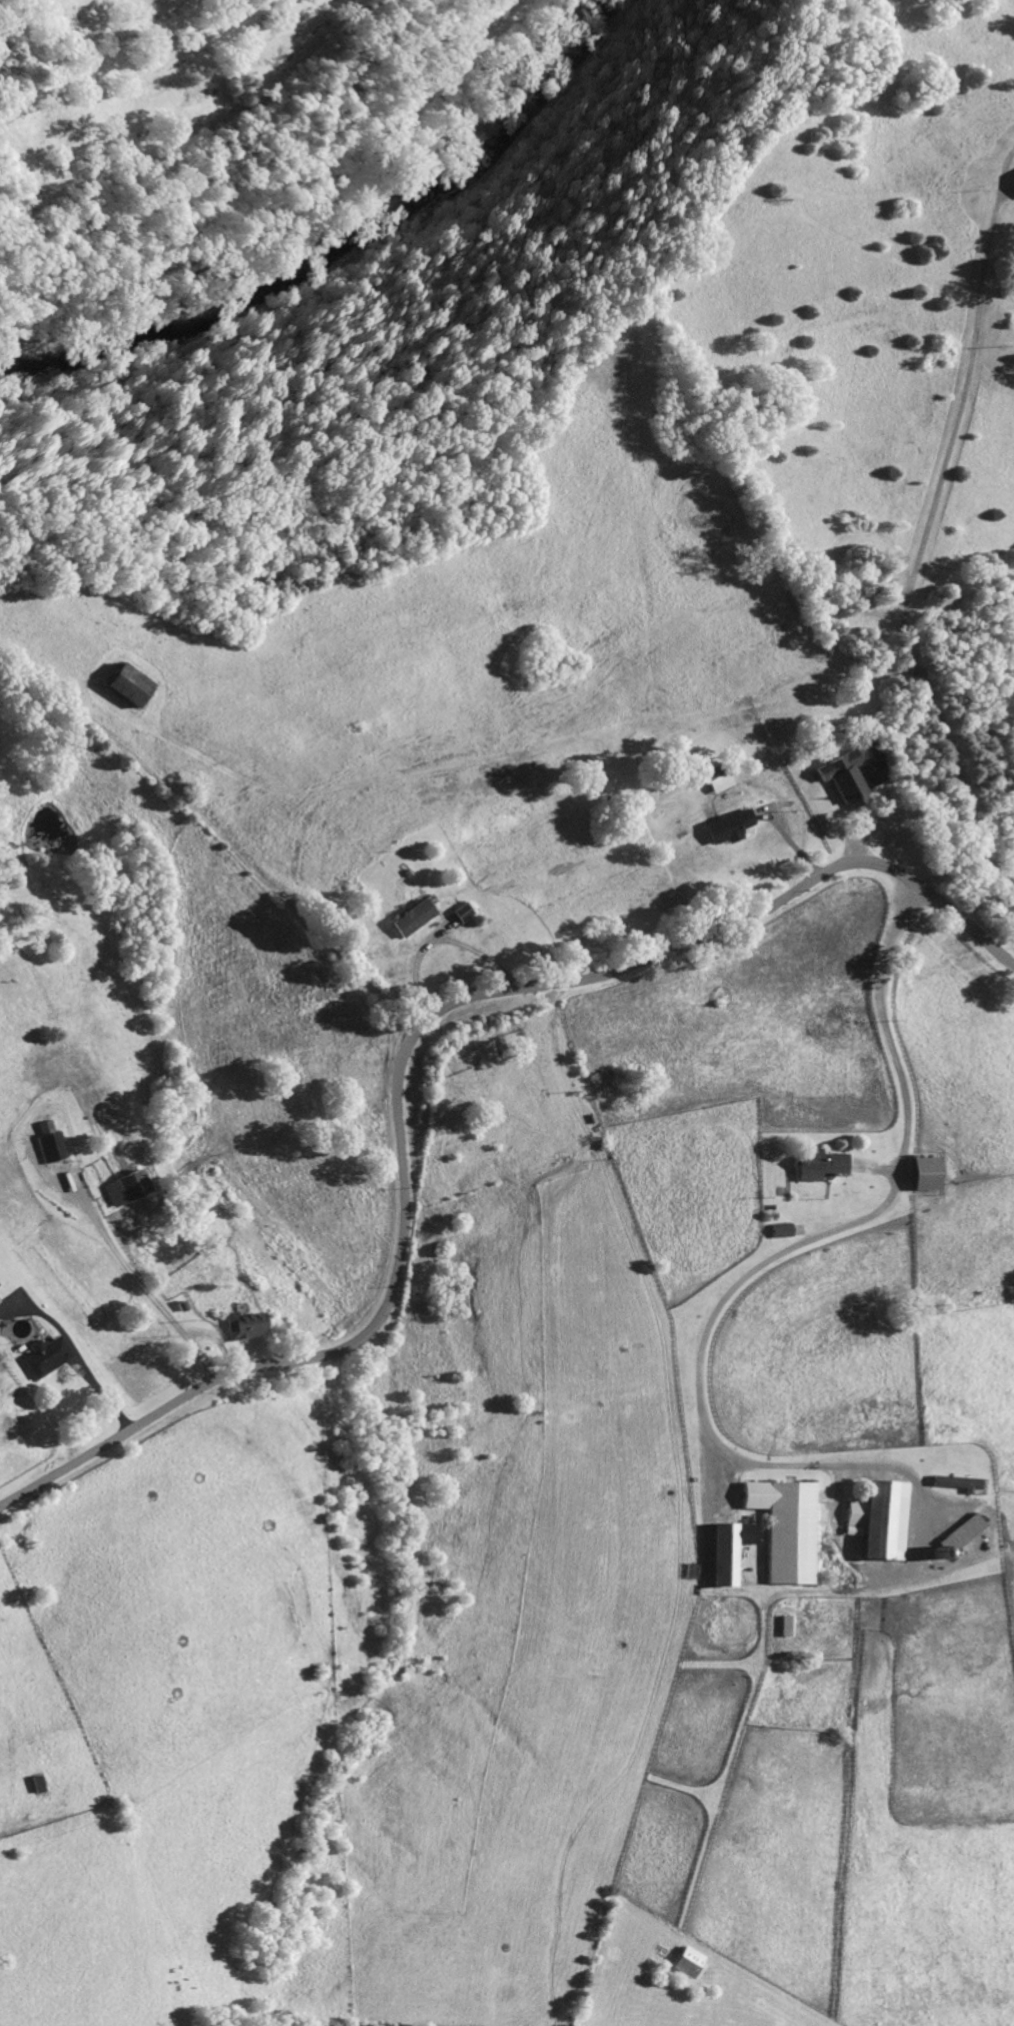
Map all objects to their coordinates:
building: (1013, 174)
river: (337, 238)
road: (928, 526)
building: (122, 685)
building: (840, 778)
building: (725, 828)
building: (411, 919)
road: (438, 942)
road: (402, 1054)
building: (52, 1147)
building: (815, 1165)
building: (918, 1175)
building: (122, 1189)
road: (83, 1199)
building: (779, 1231)
road: (796, 1243)
building: (243, 1326)
road: (216, 1341)
building: (44, 1357)
road: (78, 1357)
building: (954, 1482)
building: (876, 1520)
building: (783, 1528)
building: (952, 1538)
building: (724, 1550)
building: (684, 1962)

